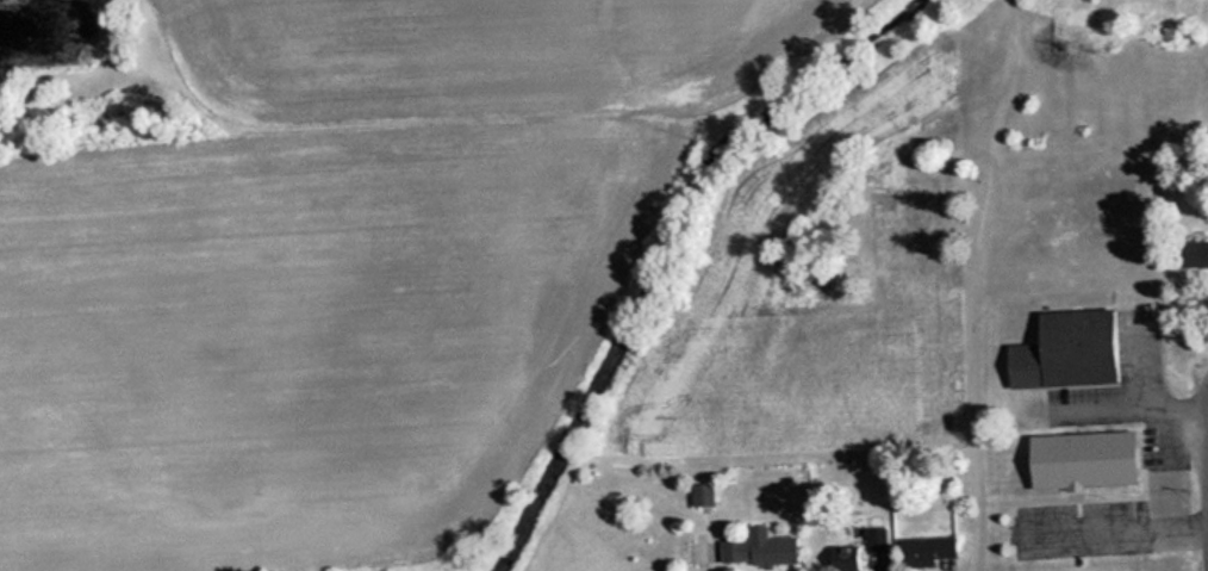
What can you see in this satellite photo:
building: (908, 197)
building: (1190, 253)
building: (1060, 349)
road: (1204, 454)
building: (1076, 459)
building: (699, 494)
building: (755, 548)
building: (922, 550)
building: (839, 558)

